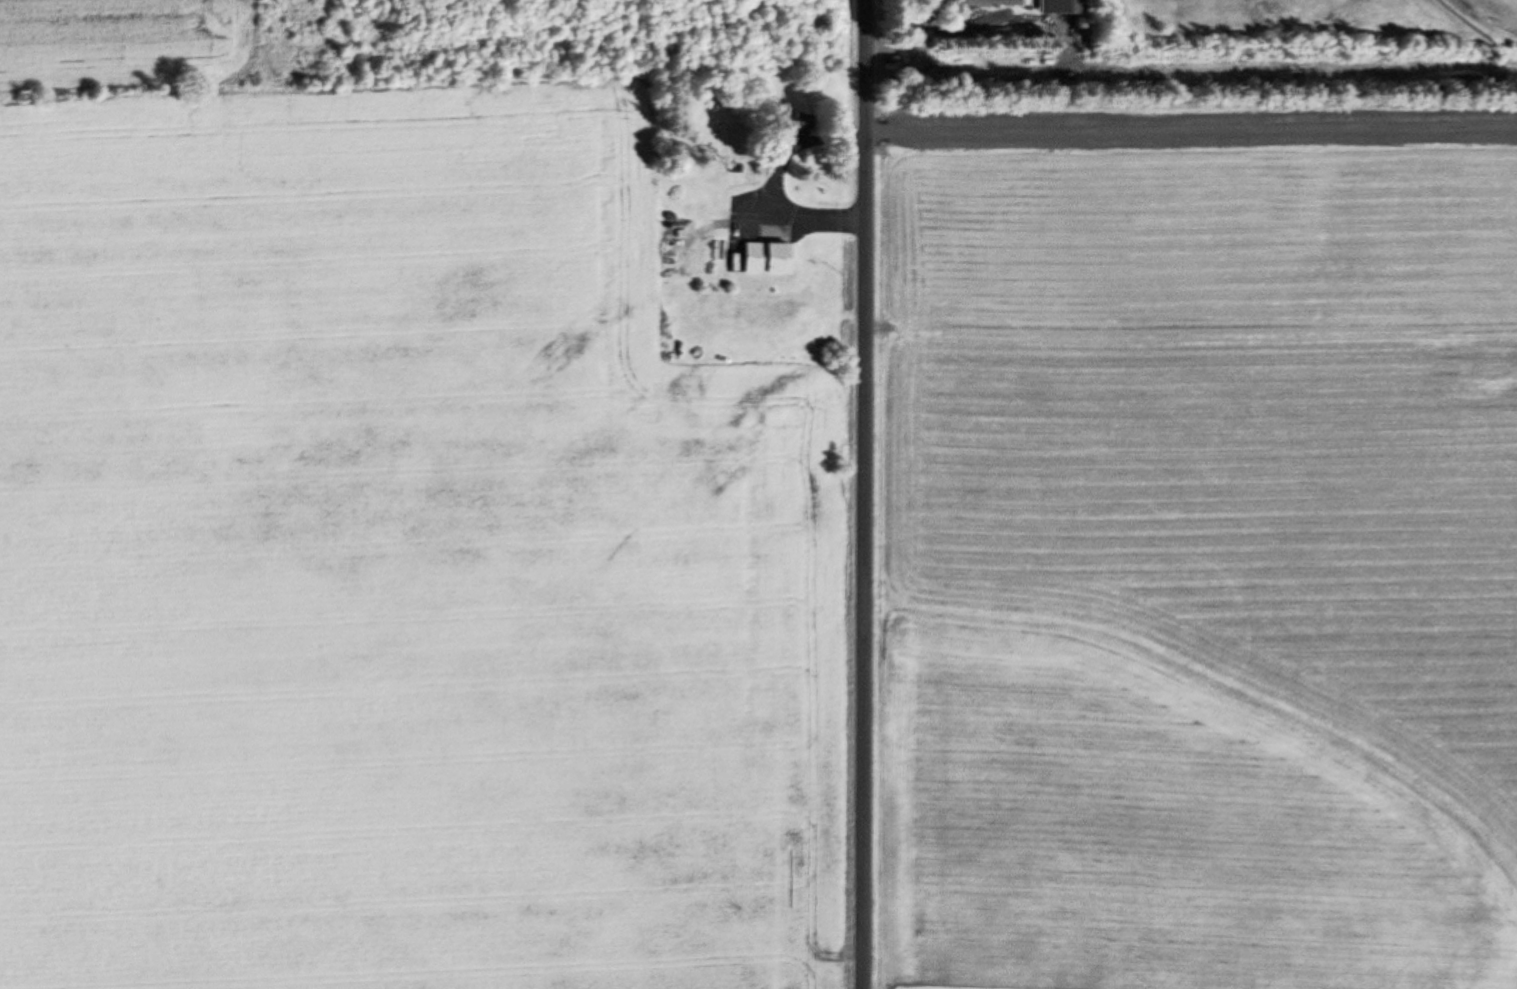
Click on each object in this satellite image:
building: (993, 3)
building: (1063, 7)
building: (734, 172)
building: (769, 257)
road: (863, 494)

